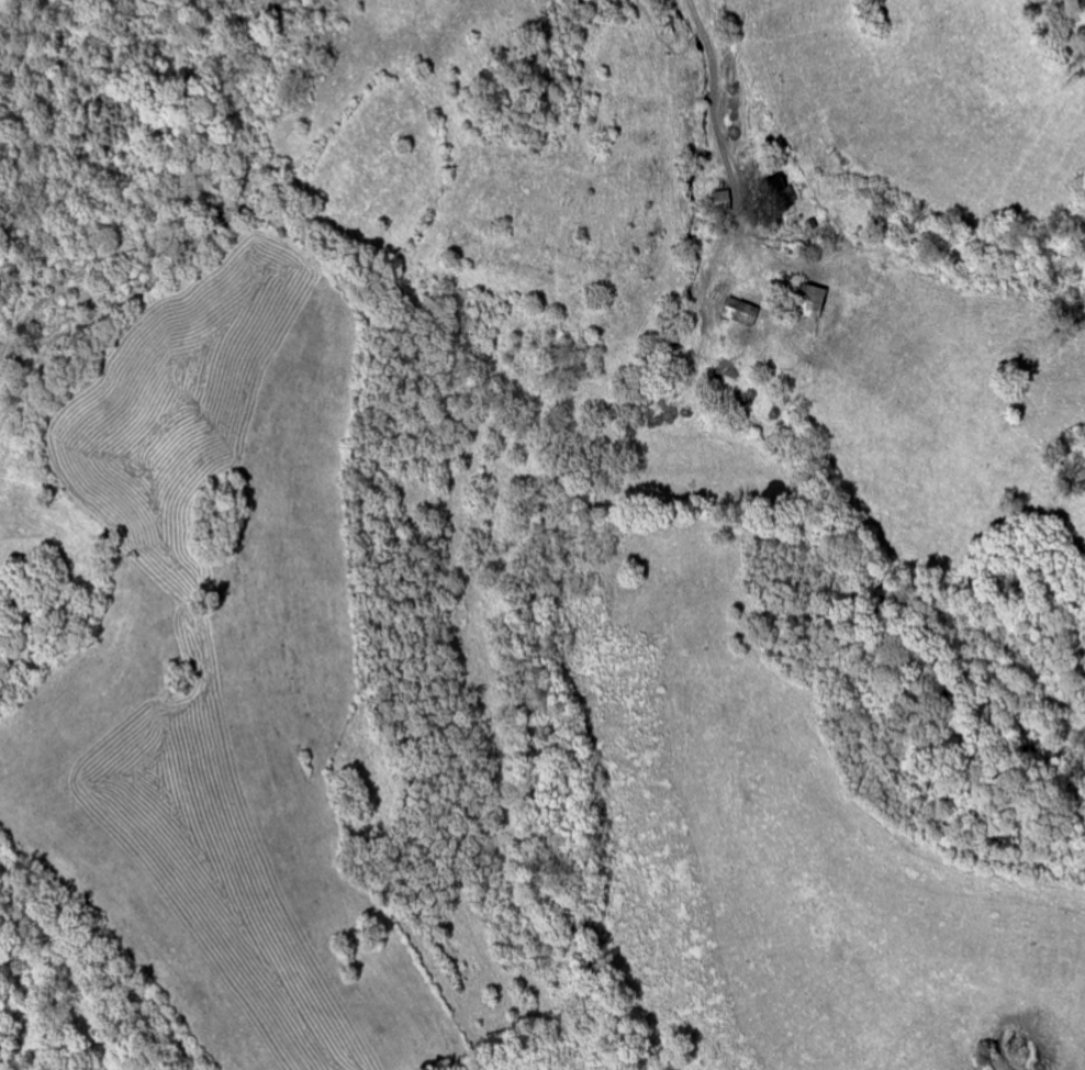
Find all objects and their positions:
road: (707, 58)
building: (743, 313)

